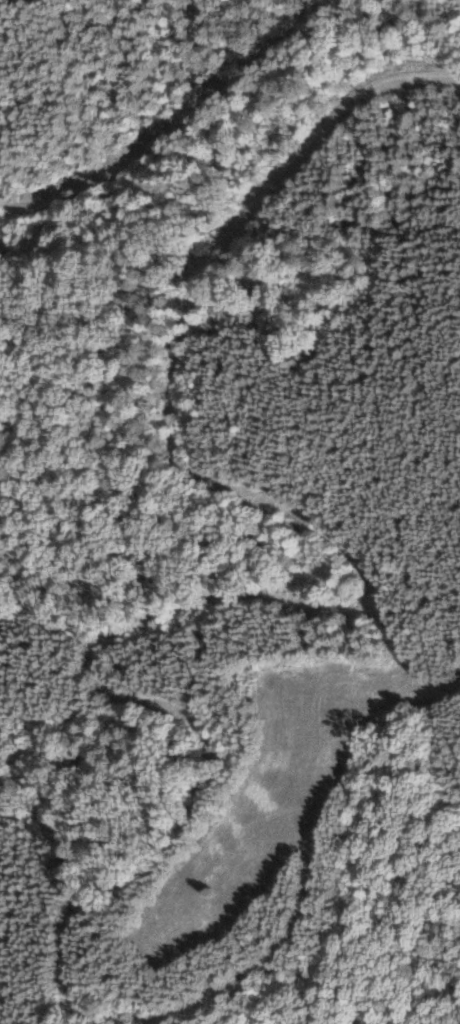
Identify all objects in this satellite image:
road: (226, 47)

